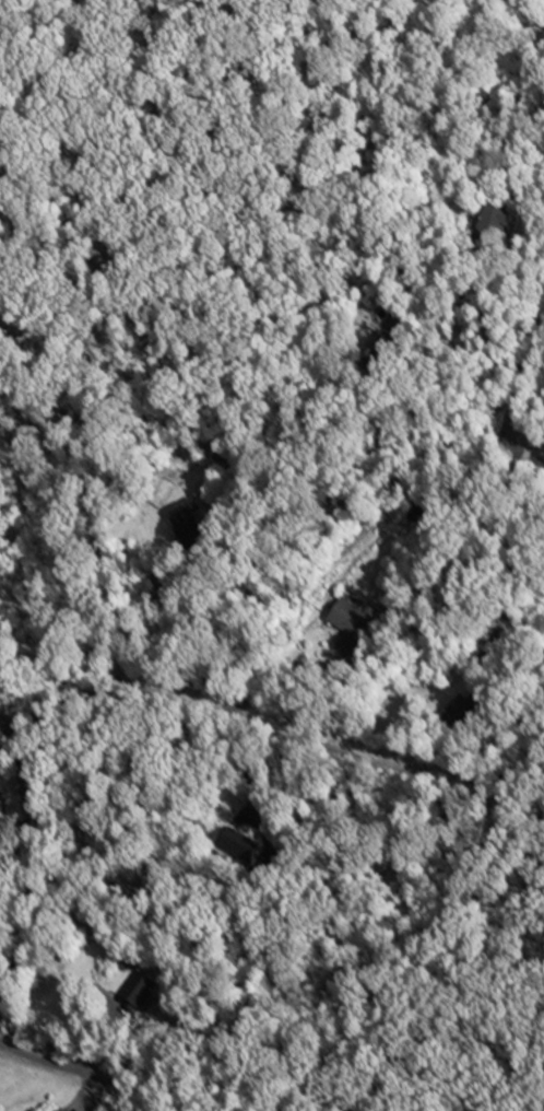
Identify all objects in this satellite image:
building: (495, 223)
road: (499, 274)
road: (463, 352)
road: (529, 406)
road: (445, 453)
road: (529, 457)
building: (184, 521)
road: (141, 622)
building: (348, 627)
building: (459, 714)
road: (237, 723)
building: (232, 844)
road: (33, 855)
building: (133, 999)
road: (105, 1074)
building: (58, 1110)

